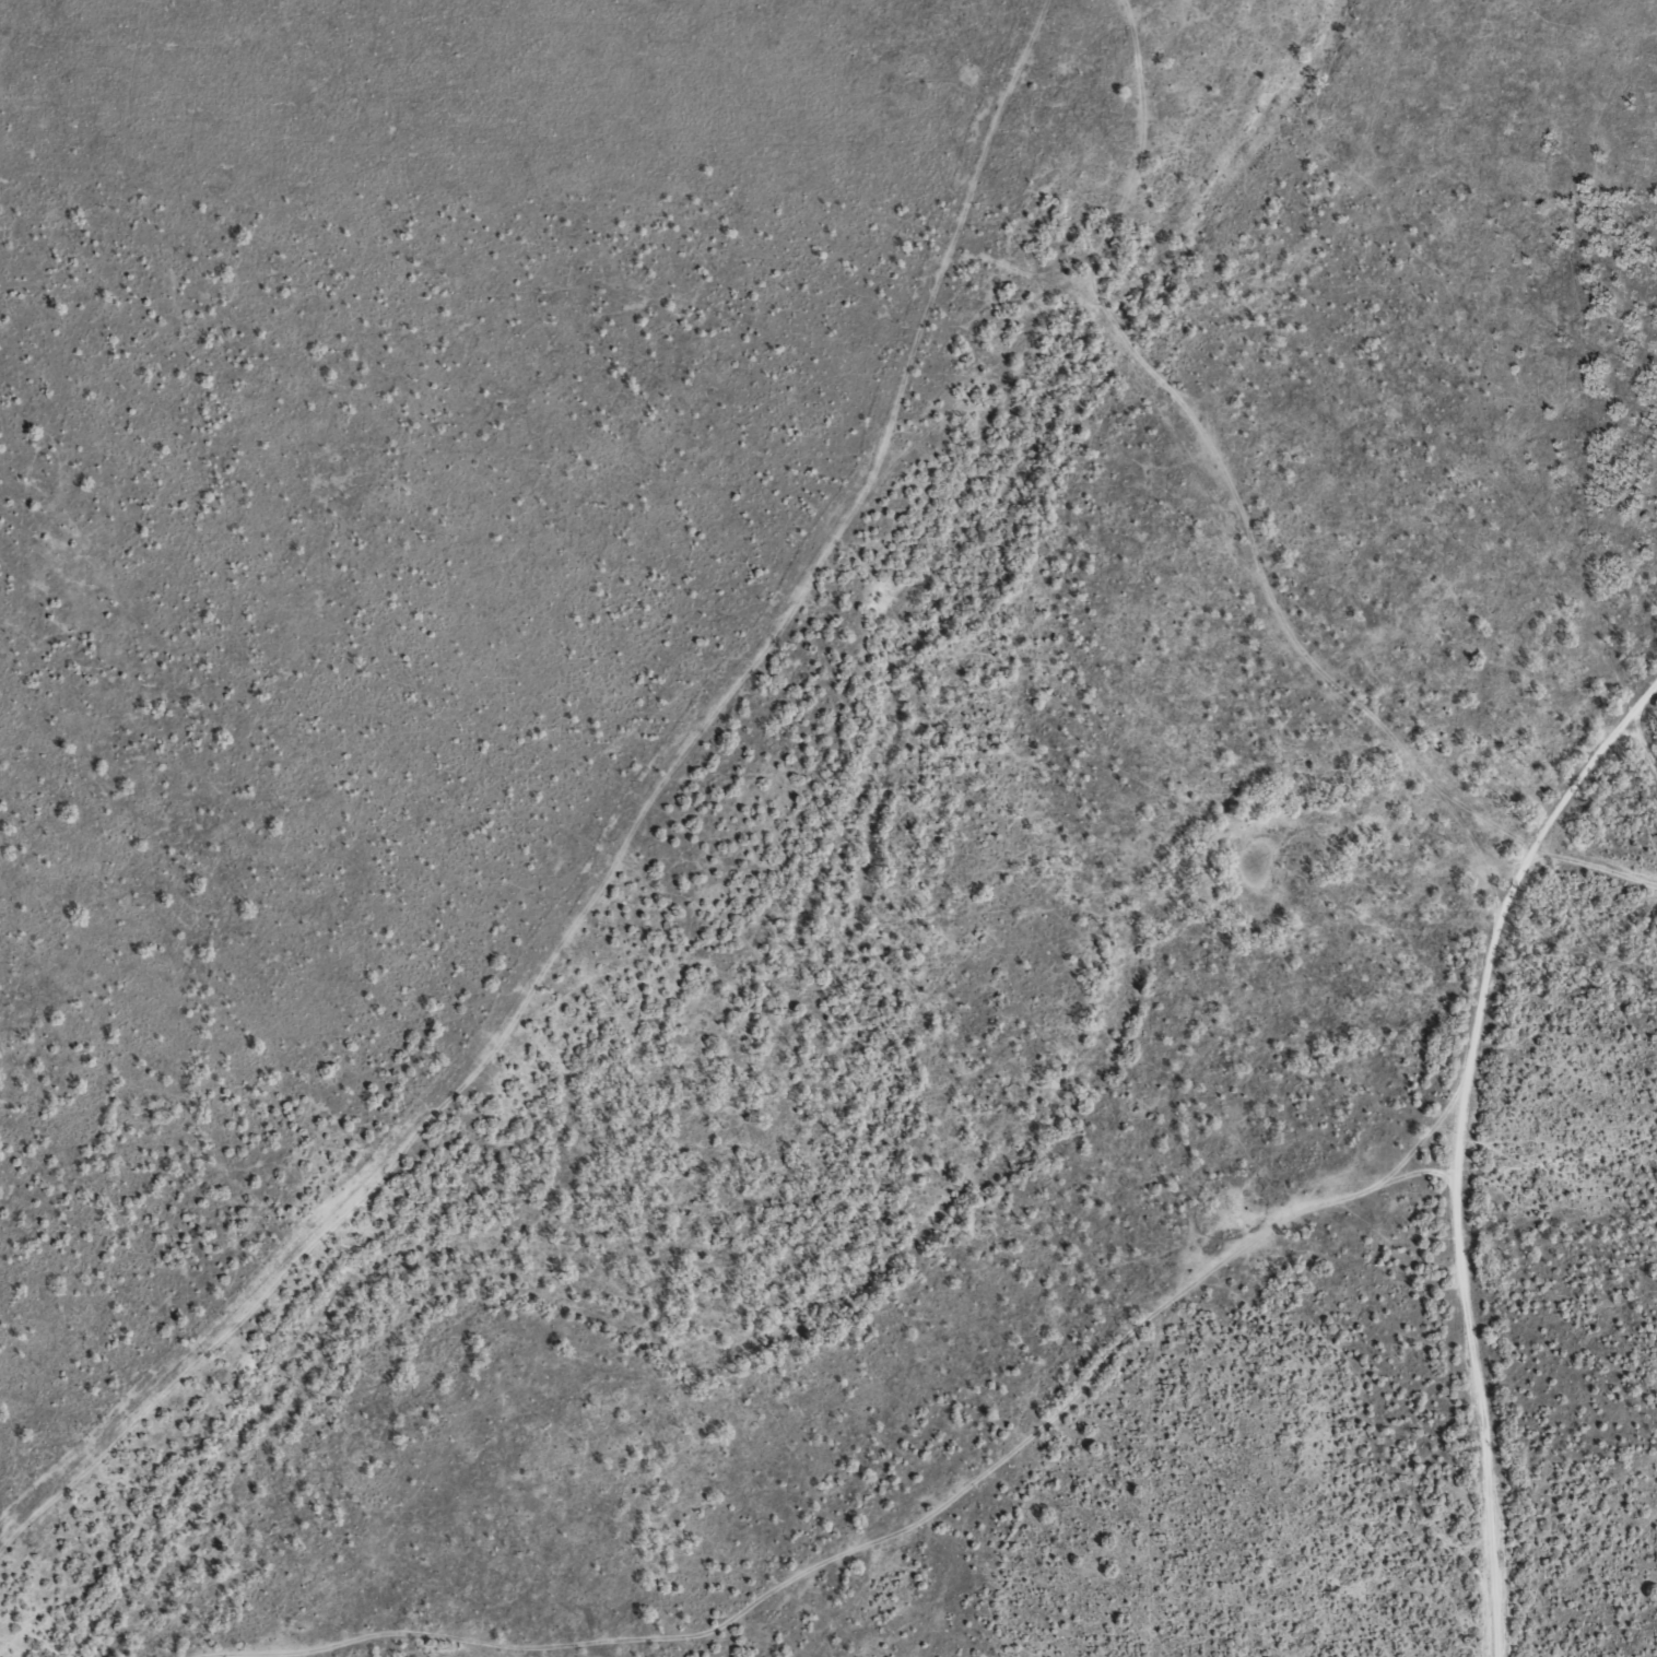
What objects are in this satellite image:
road: (1646, 777)
road: (1458, 792)
road: (1595, 814)

